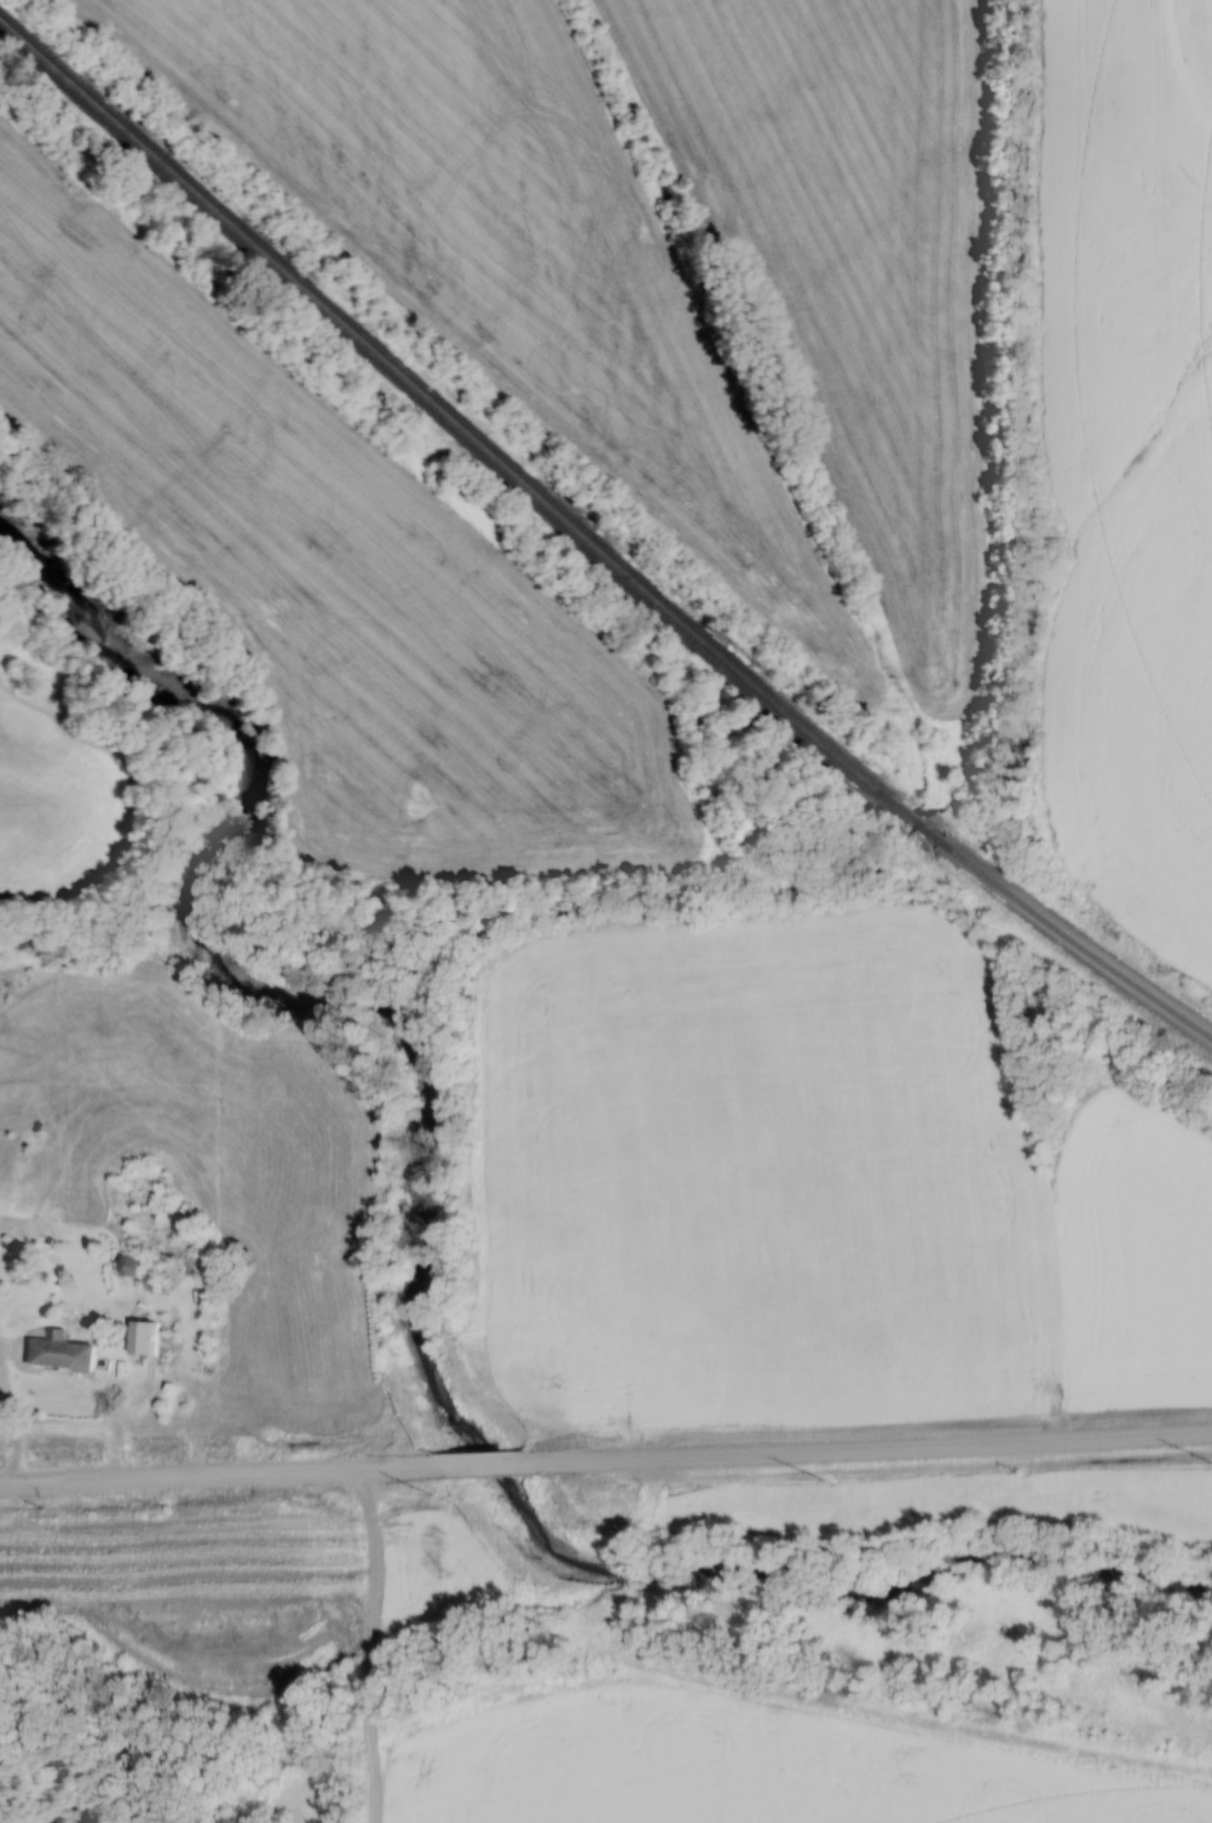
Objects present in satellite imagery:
railway: (440, 409)
railway: (920, 821)
railway: (1080, 946)
building: (64, 1354)
road: (17, 1415)
road: (605, 1461)
road: (374, 1646)

